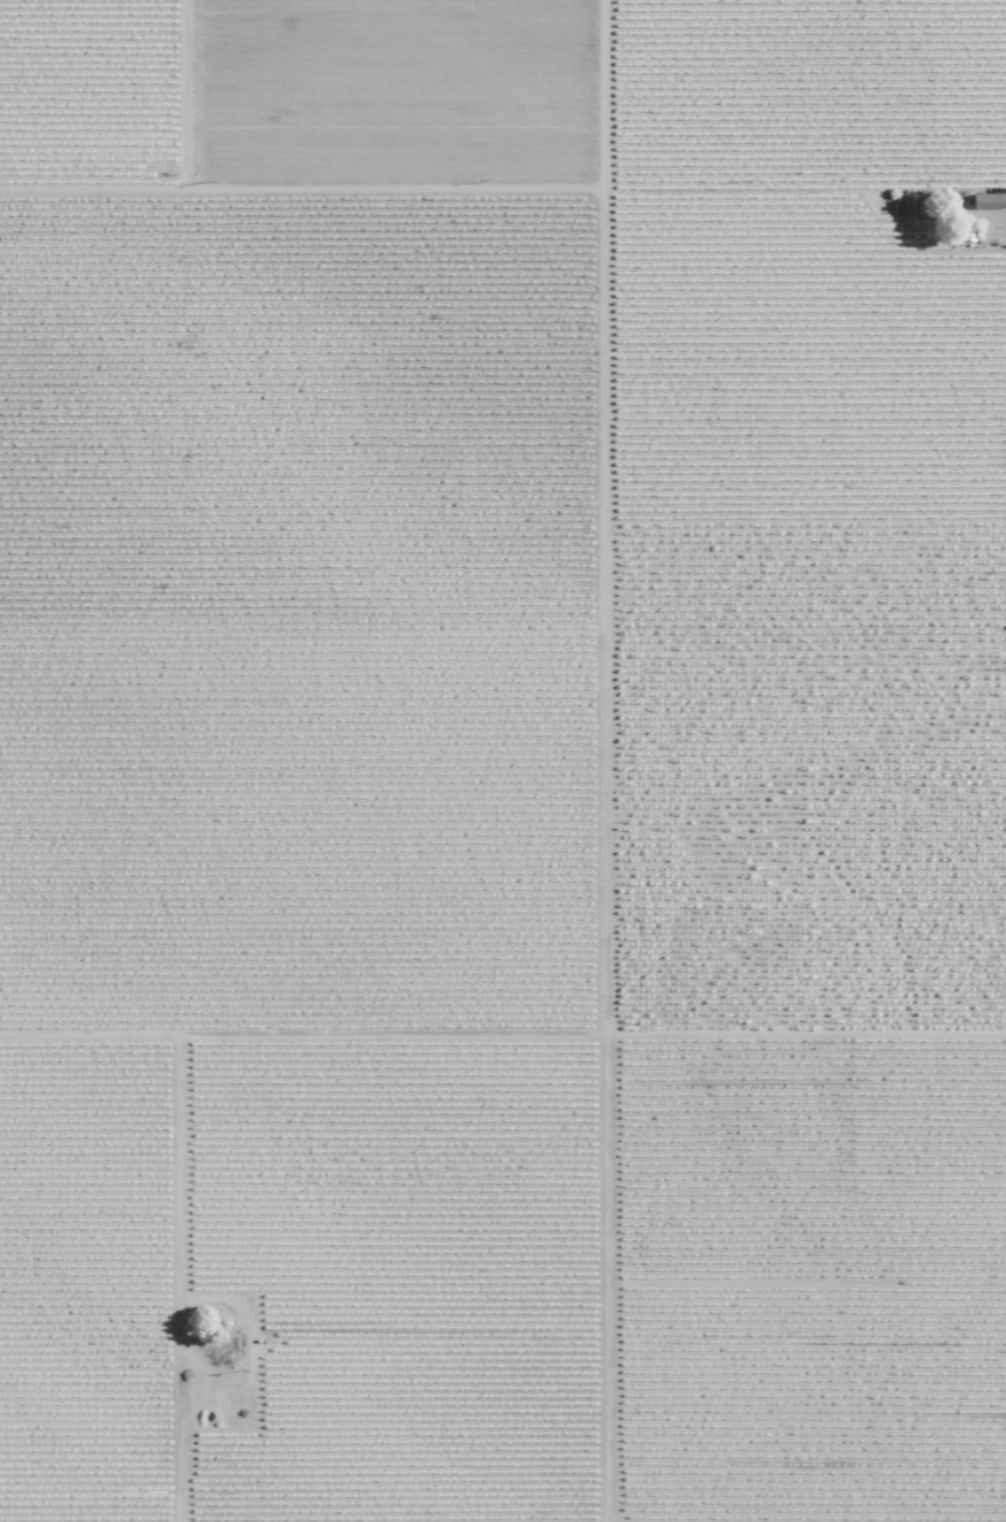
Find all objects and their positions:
road: (545, 1034)
road: (179, 1277)

